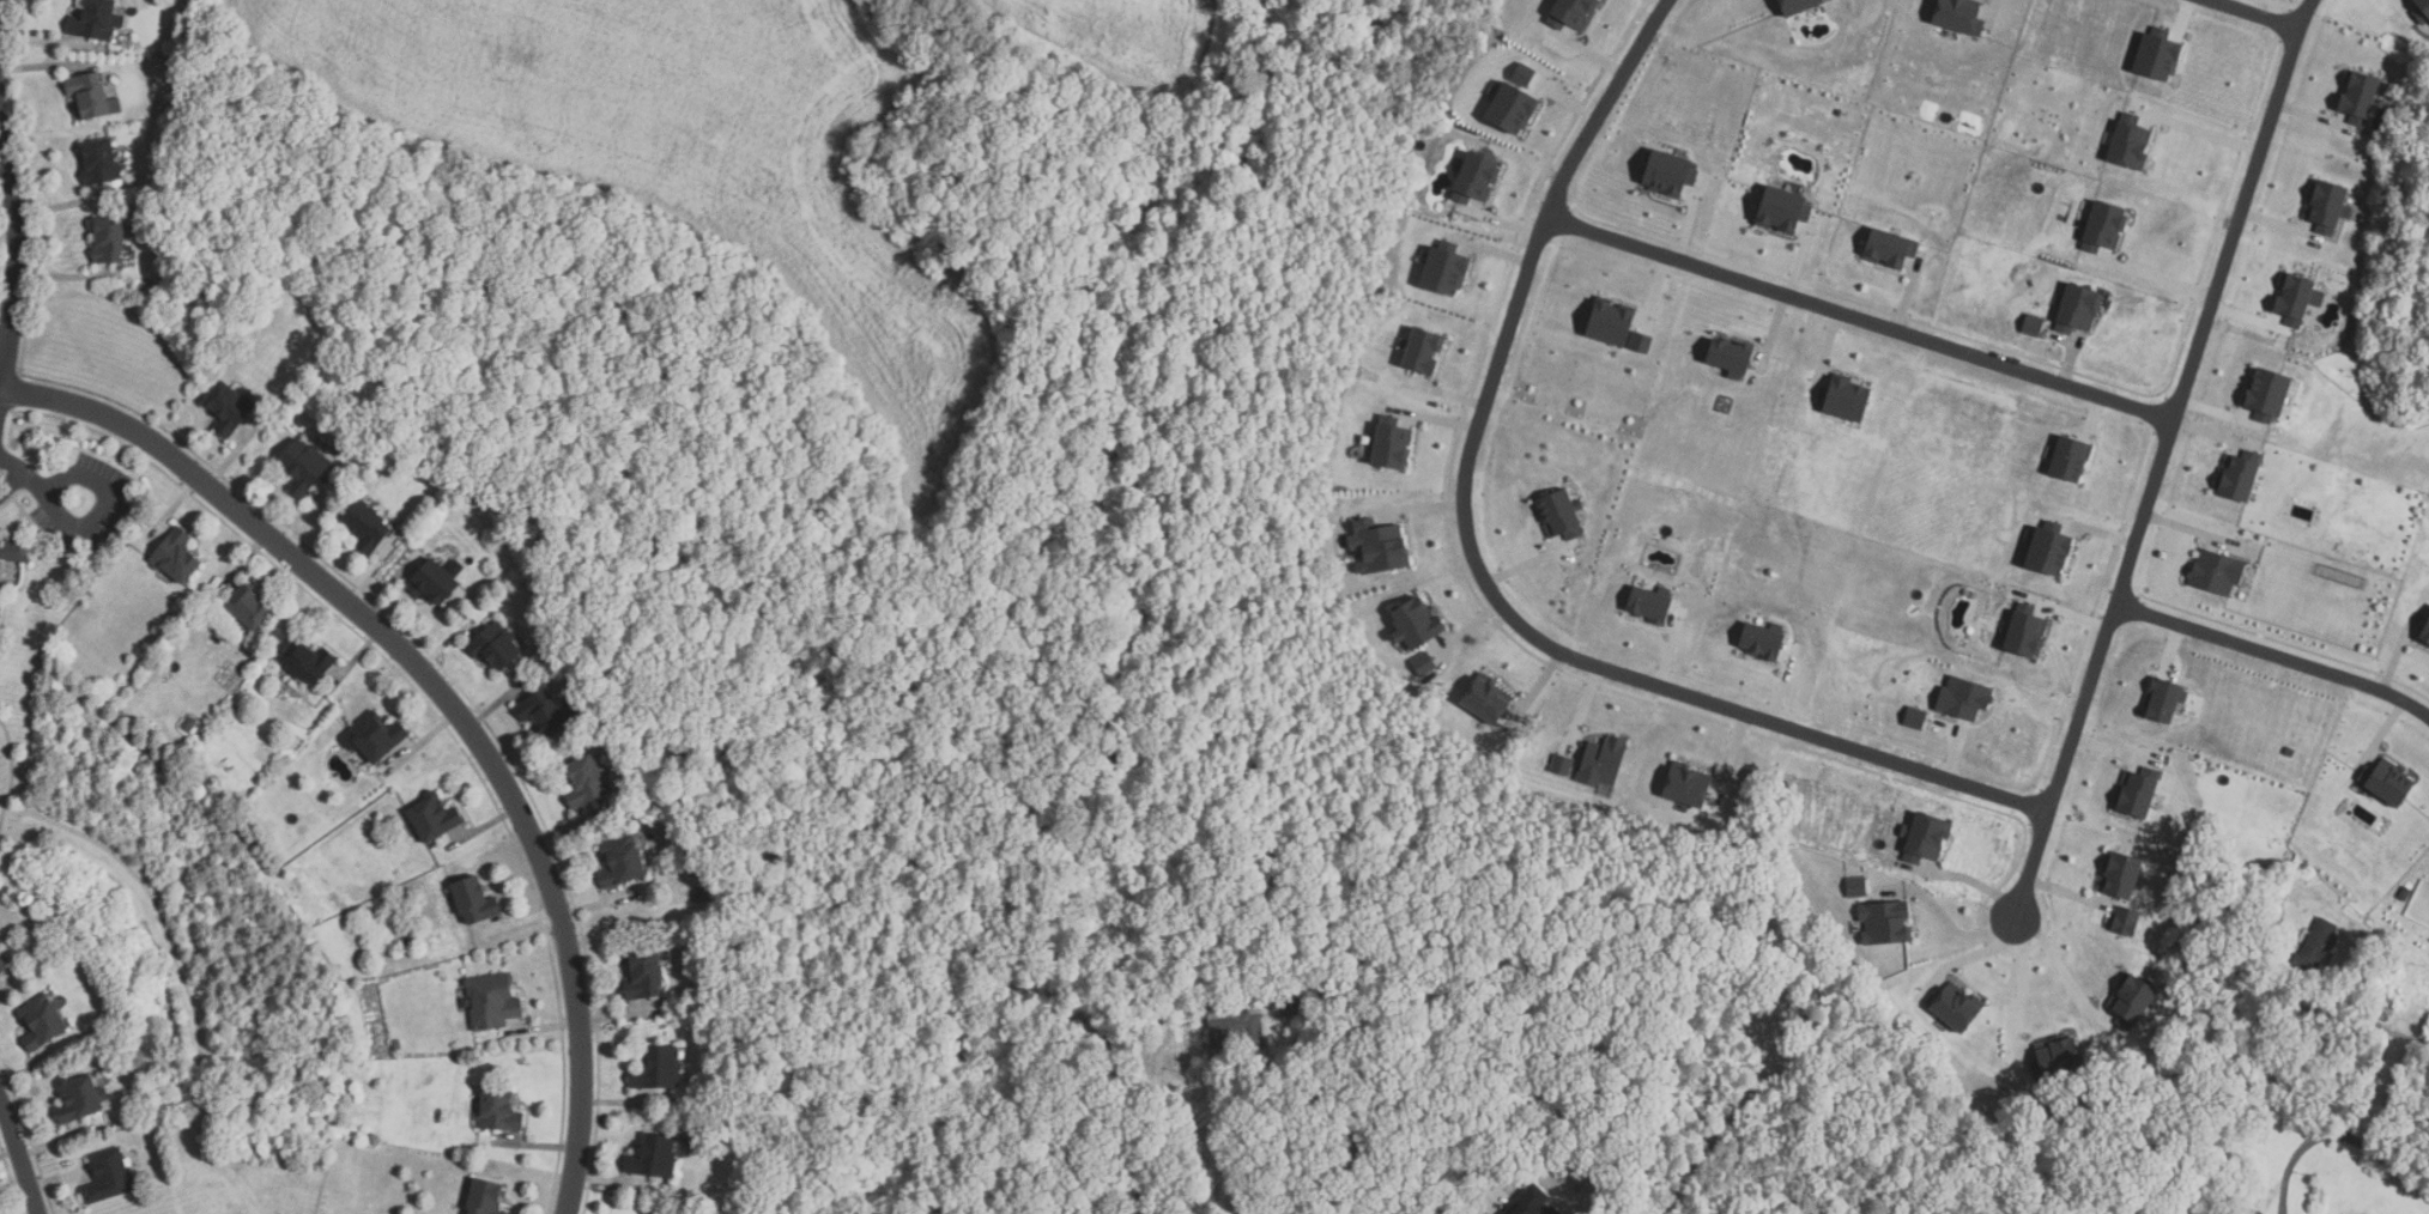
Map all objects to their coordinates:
building: (1804, 5)
building: (1575, 12)
road: (2258, 12)
road: (2306, 12)
building: (2423, 12)
building: (1959, 16)
building: (96, 20)
building: (2158, 54)
building: (1526, 74)
building: (2362, 95)
building: (89, 97)
building: (1515, 108)
road: (2195, 130)
building: (2130, 141)
building: (101, 160)
building: (1670, 171)
building: (1478, 177)
building: (2328, 205)
building: (1785, 208)
building: (2108, 226)
building: (110, 239)
building: (1894, 248)
road: (19, 259)
building: (1448, 271)
road: (2151, 278)
building: (2298, 297)
building: (2080, 308)
road: (1859, 317)
building: (1615, 322)
building: (2035, 324)
building: (1643, 341)
building: (1423, 350)
building: (1734, 357)
building: (2270, 394)
building: (1848, 397)
road: (1, 401)
building: (229, 407)
building: (1394, 443)
building: (2074, 459)
building: (304, 467)
road: (2155, 469)
building: (2242, 474)
road: (23, 479)
road: (108, 506)
building: (1563, 515)
building: (368, 527)
building: (1382, 546)
building: (16, 547)
building: (2054, 552)
building: (176, 557)
building: (2218, 572)
road: (1480, 575)
building: (432, 583)
building: (1653, 603)
building: (249, 607)
building: (1415, 625)
building: (2030, 630)
building: (2423, 632)
building: (1763, 641)
building: (496, 647)
road: (2272, 654)
building: (308, 661)
building: (1426, 664)
building: (1968, 694)
road: (444, 697)
building: (1491, 699)
building: (2167, 699)
building: (544, 711)
building: (1915, 721)
building: (376, 736)
building: (1604, 761)
building: (1564, 765)
building: (586, 781)
building: (2381, 783)
building: (1688, 785)
building: (2138, 794)
building: (435, 817)
building: (1928, 838)
building: (622, 862)
building: (2124, 875)
road: (1979, 884)
building: (1859, 887)
road: (2067, 892)
building: (474, 902)
road: (1945, 918)
building: (2128, 921)
building: (1888, 923)
building: (2310, 949)
road: (1977, 954)
building: (4, 969)
road: (2061, 970)
building: (644, 976)
road: (2022, 988)
building: (2136, 1001)
building: (492, 1002)
building: (1290, 1007)
building: (1959, 1007)
building: (1185, 1013)
building: (1164, 1016)
building: (41, 1022)
building: (1237, 1027)
road: (2392, 1034)
building: (1331, 1050)
building: (1734, 1050)
building: (2059, 1057)
road: (1320, 1067)
building: (659, 1068)
building: (79, 1098)
building: (499, 1109)
building: (2254, 1112)
road: (2336, 1136)
road: (1695, 1153)
road: (20, 1155)
building: (654, 1157)
building: (109, 1176)
road: (1340, 1180)
building: (2191, 1194)
building: (485, 1197)
road: (1491, 1202)
building: (1535, 1202)
building: (2248, 1212)

